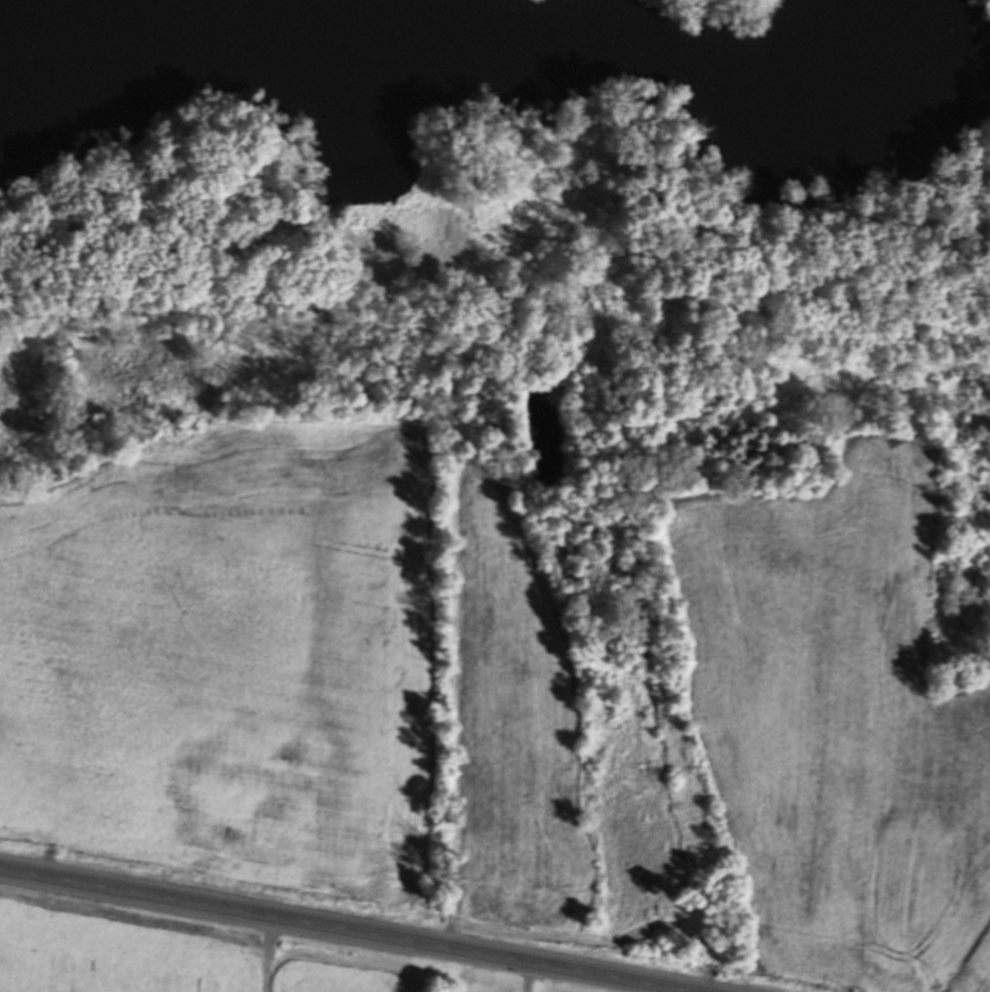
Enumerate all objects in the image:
river: (471, 49)
road: (342, 930)
road: (523, 977)

